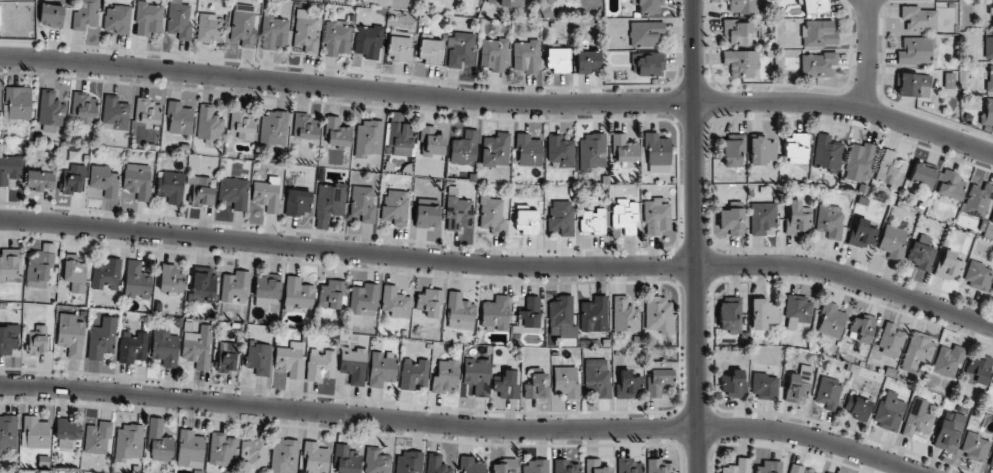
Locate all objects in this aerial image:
building: (548, 1)
building: (509, 3)
building: (648, 6)
building: (742, 6)
building: (815, 6)
building: (51, 15)
building: (0, 16)
building: (86, 16)
building: (919, 18)
building: (117, 19)
building: (148, 19)
building: (180, 21)
building: (243, 27)
building: (210, 28)
building: (306, 32)
building: (737, 32)
building: (275, 33)
building: (645, 33)
building: (819, 33)
building: (337, 39)
building: (369, 41)
building: (988, 47)
building: (460, 49)
building: (430, 50)
building: (915, 51)
building: (494, 54)
building: (527, 56)
road: (868, 56)
building: (559, 59)
building: (588, 61)
building: (741, 63)
building: (818, 65)
building: (949, 80)
building: (990, 80)
building: (914, 84)
road: (499, 102)
building: (18, 103)
building: (84, 108)
building: (147, 111)
building: (50, 112)
building: (115, 114)
building: (987, 114)
building: (179, 119)
building: (243, 123)
building: (209, 124)
building: (305, 126)
building: (273, 129)
building: (337, 133)
building: (368, 138)
building: (401, 138)
building: (431, 142)
building: (796, 147)
building: (464, 148)
building: (624, 149)
building: (495, 150)
building: (528, 150)
building: (733, 150)
building: (560, 151)
building: (762, 151)
building: (592, 152)
building: (657, 153)
building: (828, 153)
building: (859, 162)
building: (10, 169)
building: (890, 169)
building: (922, 175)
building: (40, 180)
building: (72, 180)
building: (104, 180)
building: (138, 181)
building: (950, 185)
building: (170, 187)
building: (201, 191)
building: (234, 192)
building: (267, 194)
building: (977, 200)
building: (298, 202)
building: (329, 203)
building: (362, 203)
building: (395, 207)
building: (458, 213)
building: (492, 214)
building: (426, 215)
building: (561, 216)
building: (625, 216)
building: (656, 216)
building: (762, 217)
building: (799, 218)
building: (526, 220)
building: (830, 220)
building: (593, 221)
building: (731, 221)
building: (992, 222)
building: (862, 234)
road: (696, 236)
building: (892, 241)
building: (922, 252)
building: (9, 264)
building: (949, 265)
road: (500, 266)
building: (40, 267)
building: (75, 273)
building: (107, 275)
building: (977, 275)
building: (171, 280)
building: (137, 281)
building: (203, 284)
building: (235, 286)
building: (267, 290)
building: (992, 290)
building: (298, 294)
building: (332, 294)
building: (364, 298)
building: (395, 302)
building: (427, 303)
building: (460, 312)
building: (763, 313)
building: (798, 313)
building: (496, 314)
building: (625, 314)
building: (731, 314)
building: (594, 315)
building: (659, 315)
building: (529, 316)
building: (561, 317)
building: (831, 320)
building: (861, 328)
building: (70, 335)
building: (102, 339)
building: (890, 339)
building: (7, 340)
building: (38, 340)
building: (165, 347)
building: (198, 347)
building: (132, 348)
building: (919, 349)
building: (226, 357)
building: (258, 358)
building: (290, 359)
building: (948, 361)
building: (353, 364)
building: (320, 365)
building: (381, 368)
building: (978, 369)
building: (413, 374)
building: (445, 375)
building: (477, 375)
building: (597, 377)
building: (659, 378)
building: (566, 381)
building: (732, 382)
building: (992, 383)
building: (798, 384)
building: (507, 385)
building: (628, 385)
building: (536, 386)
building: (764, 386)
building: (828, 393)
building: (857, 407)
building: (889, 412)
building: (918, 422)
road: (462, 424)
building: (155, 428)
building: (949, 431)
building: (35, 433)
building: (8, 434)
building: (97, 439)
building: (128, 443)
building: (974, 446)
building: (190, 448)
building: (161, 449)
building: (222, 450)
building: (255, 452)
building: (284, 457)
building: (316, 458)
building: (346, 460)
building: (376, 461)
building: (408, 462)
building: (991, 462)
building: (436, 464)
building: (470, 465)
building: (536, 466)
building: (565, 466)
building: (596, 466)
building: (629, 466)
building: (659, 466)
building: (738, 466)
building: (769, 466)
building: (505, 467)
building: (797, 469)
building: (827, 472)

